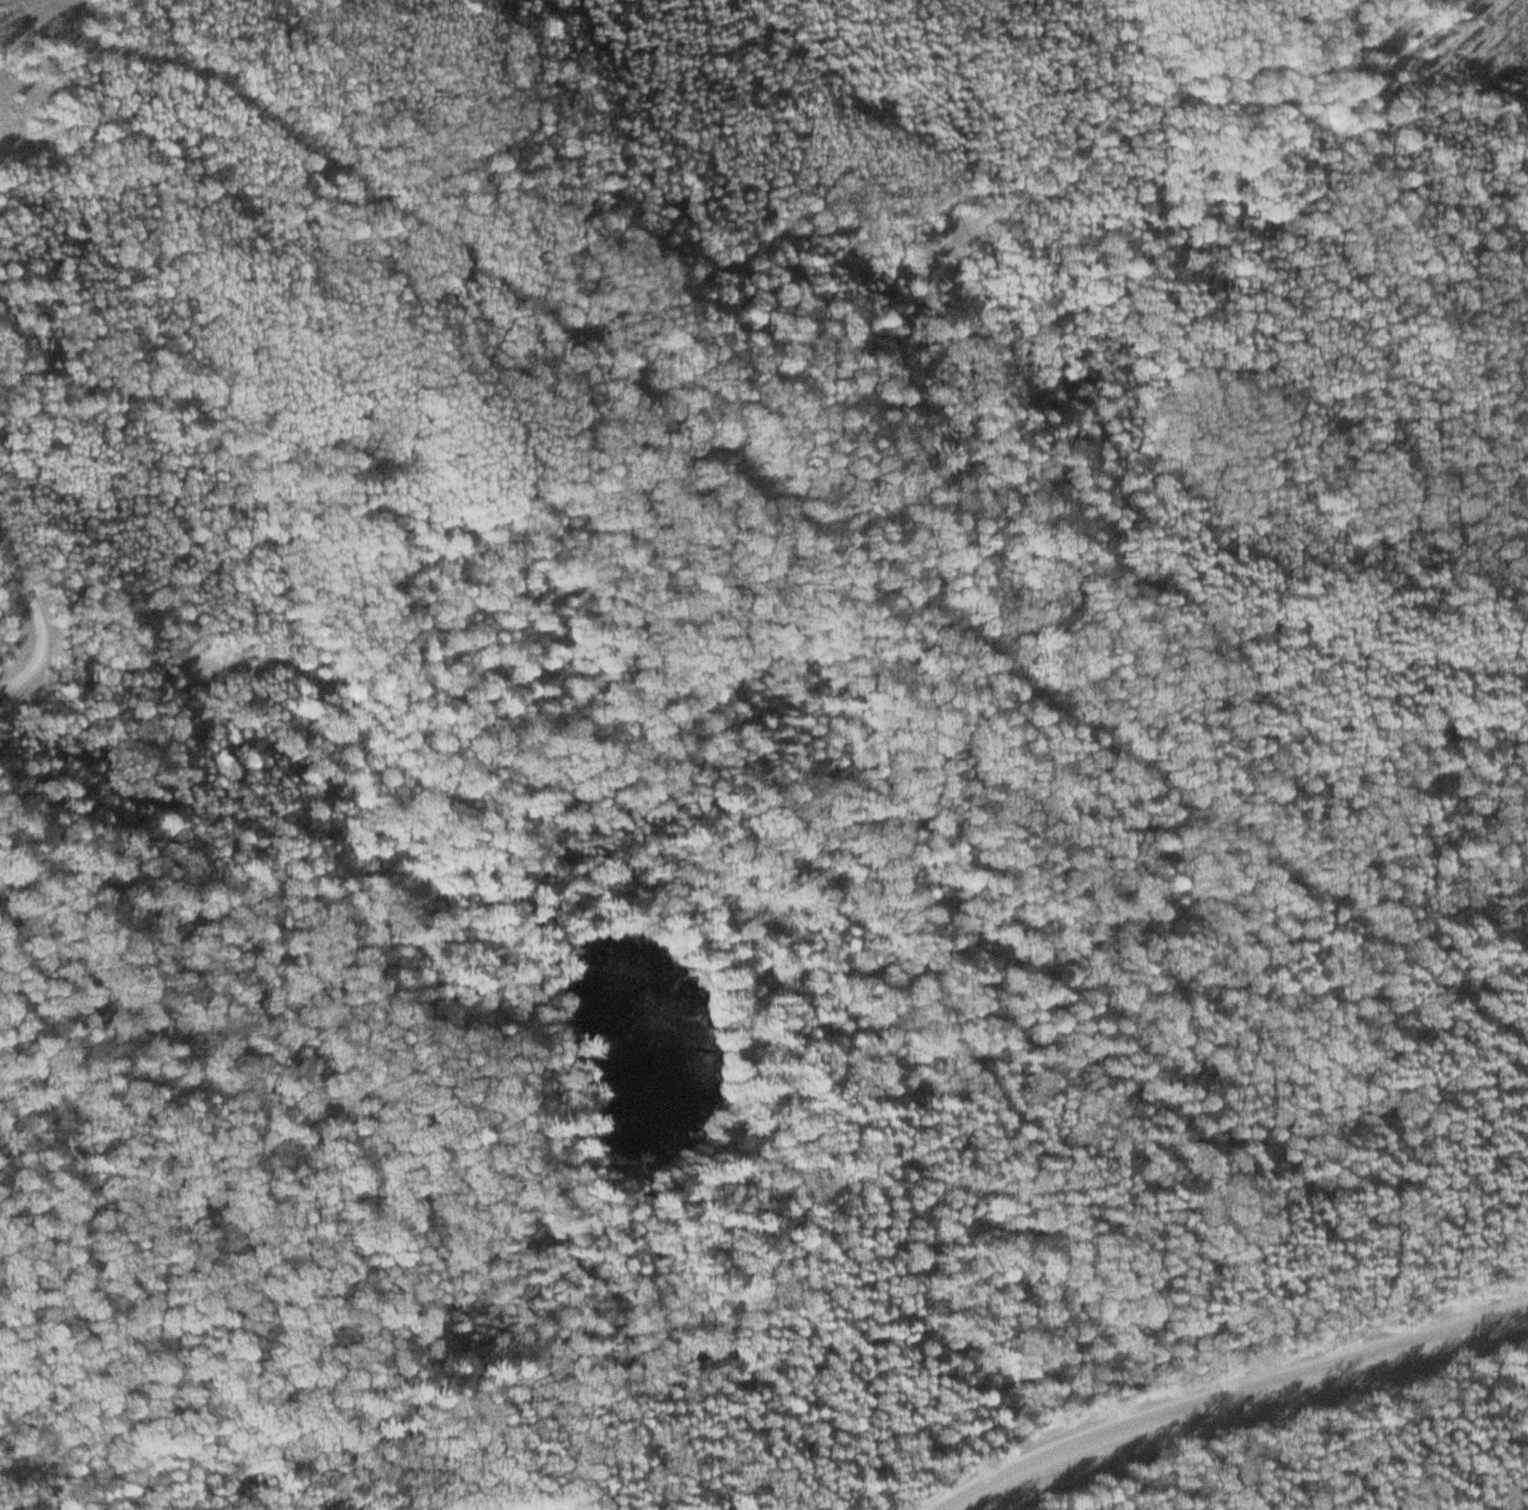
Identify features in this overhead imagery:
road: (38, 620)
road: (1483, 1322)
road: (1189, 1412)
road: (1332, 1437)

